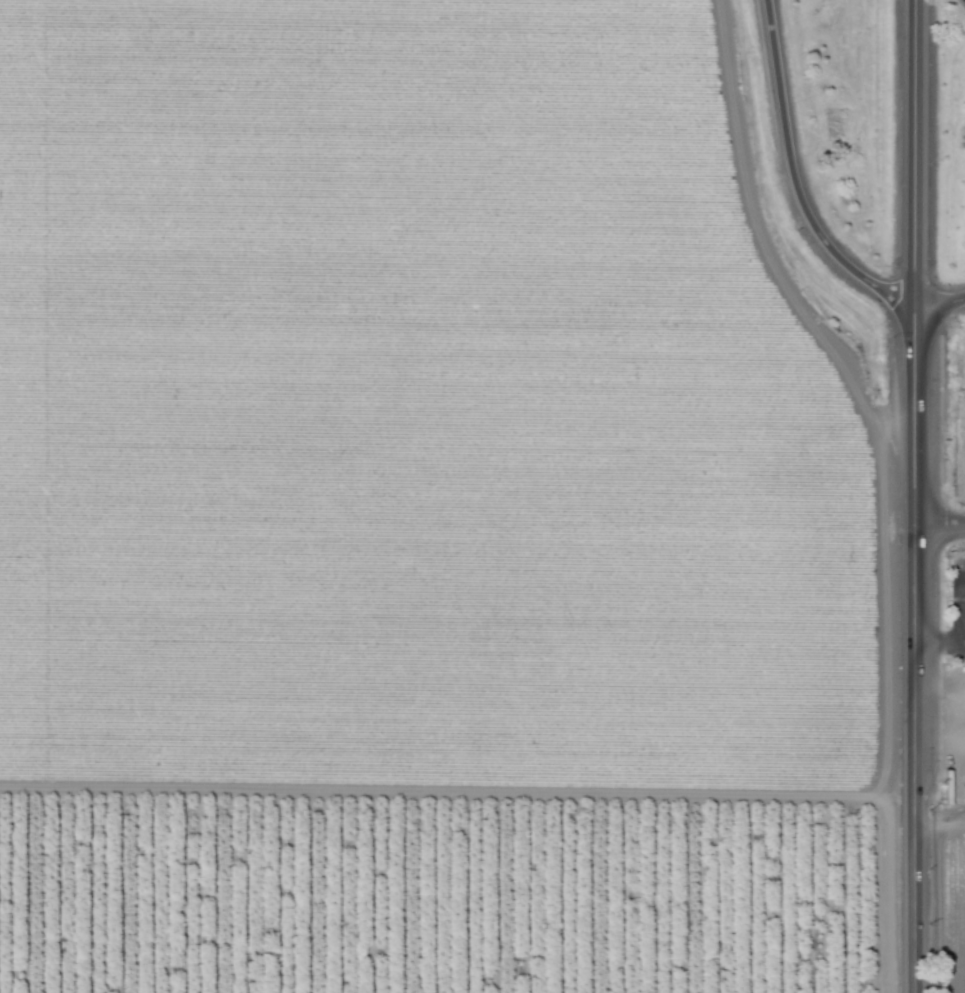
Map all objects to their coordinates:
road: (792, 177)
street lamp: (928, 266)
road: (938, 303)
street lamp: (890, 337)
road: (912, 496)
road: (938, 525)
street lamp: (945, 550)
road: (957, 600)
road: (938, 646)
road: (935, 686)
road: (939, 743)
road: (938, 826)
crop: (955, 913)

